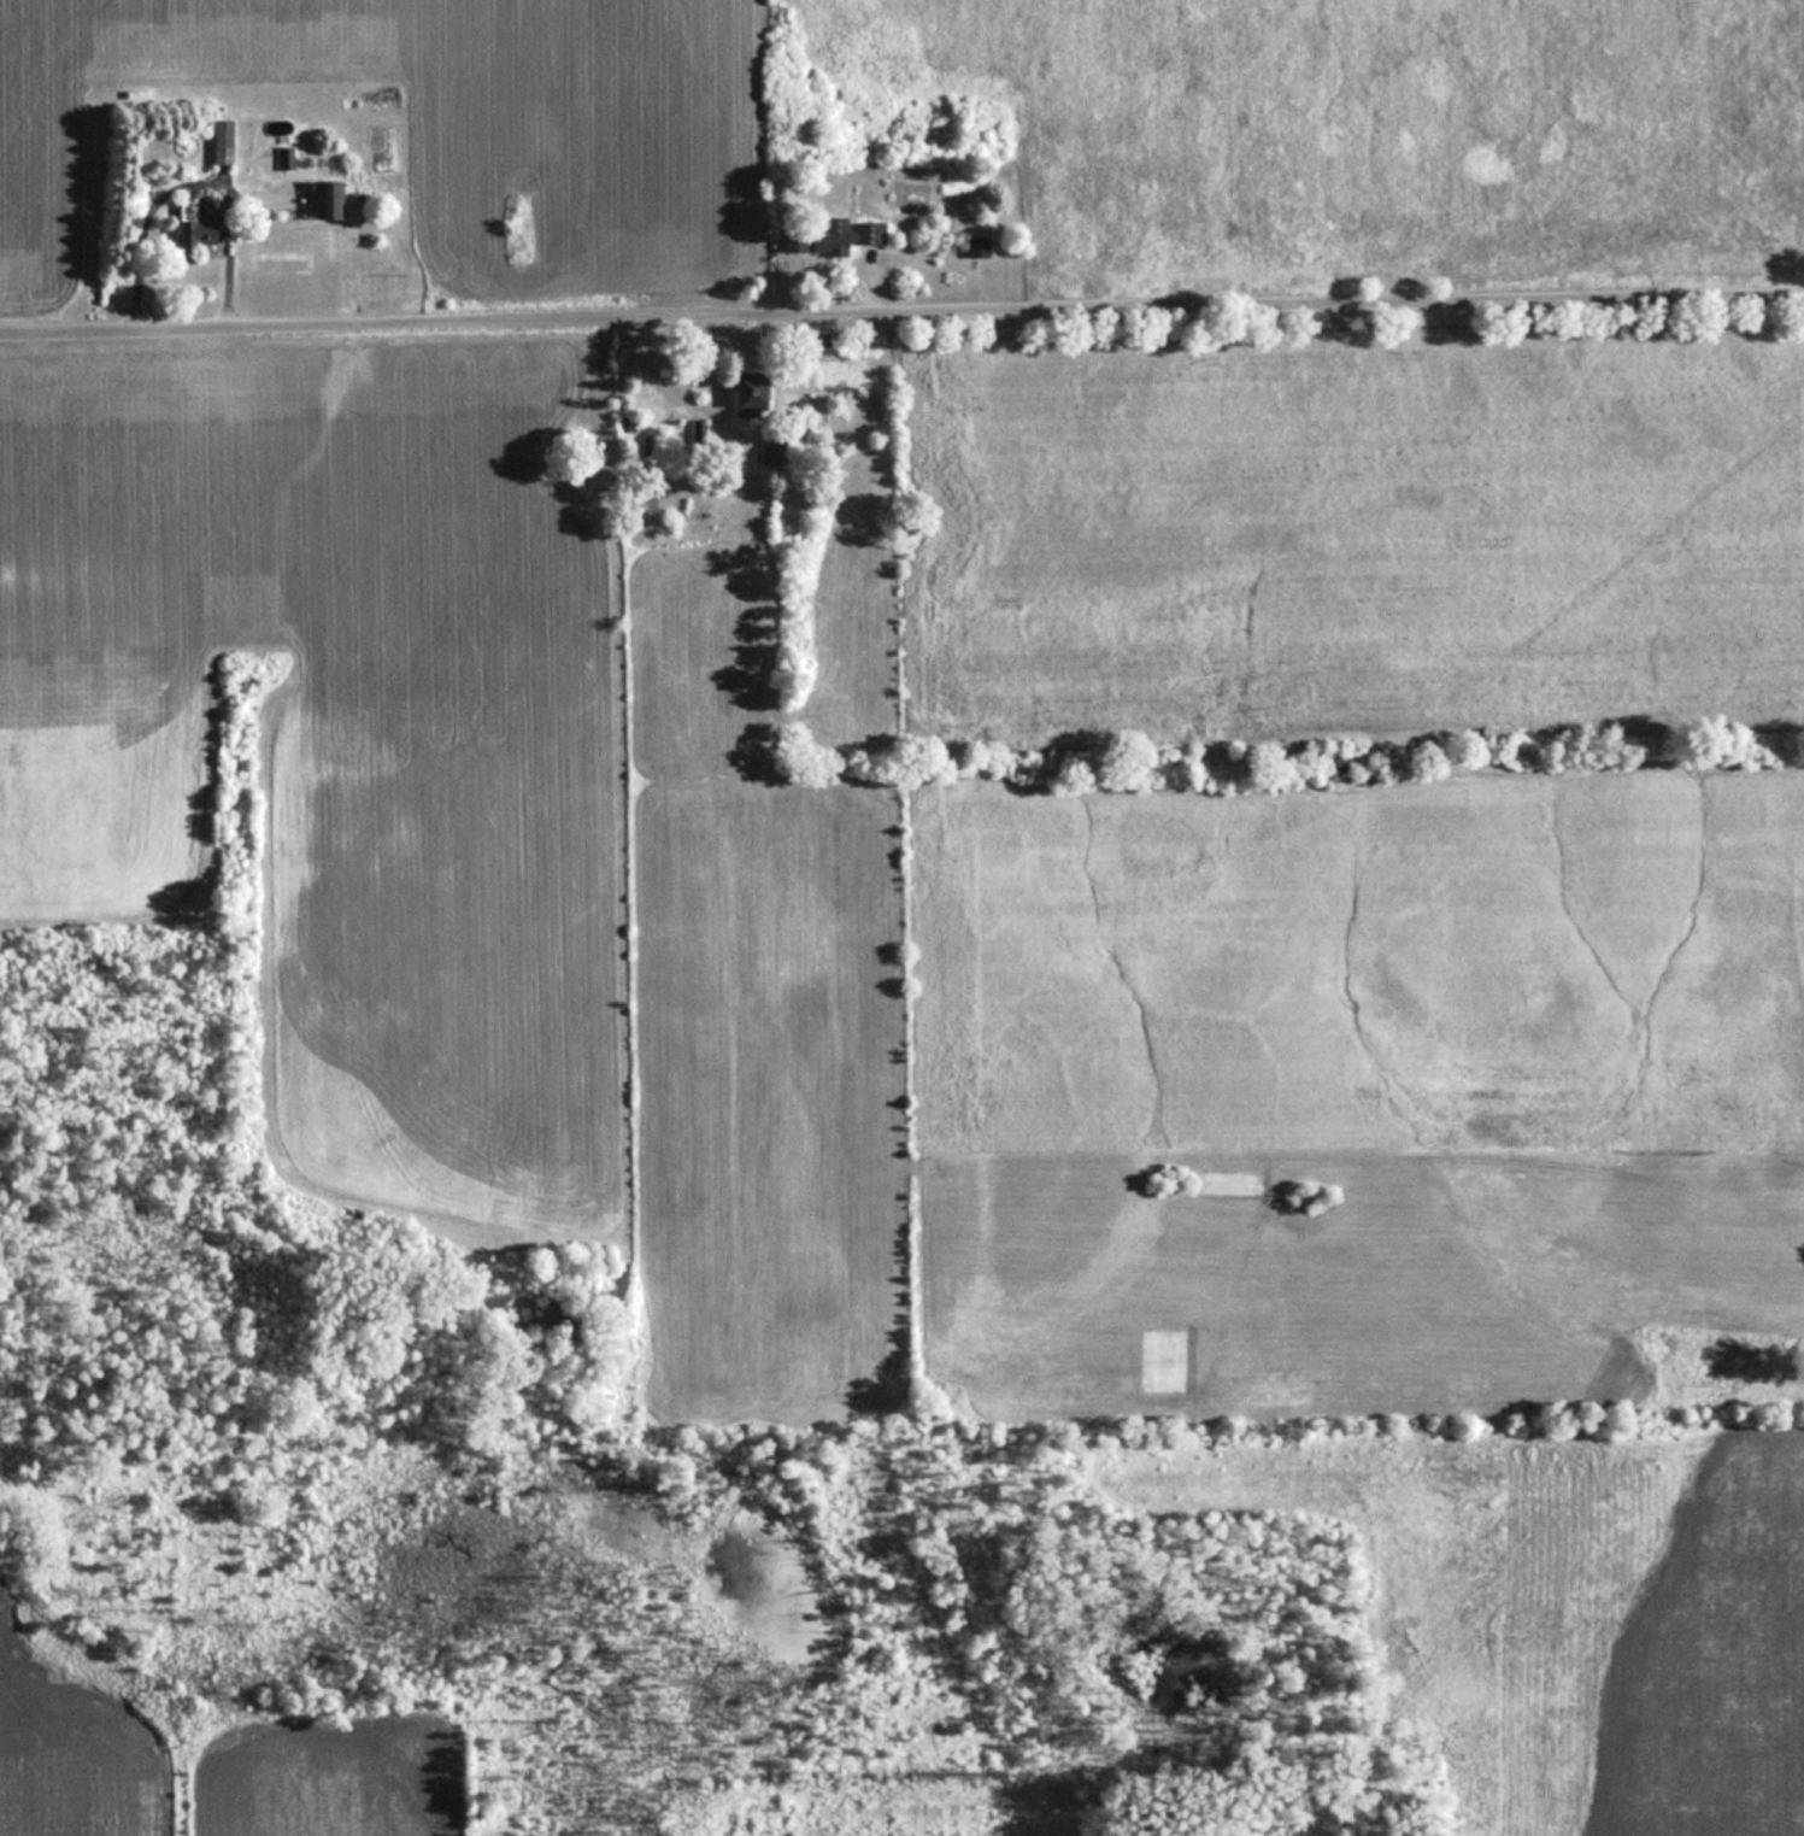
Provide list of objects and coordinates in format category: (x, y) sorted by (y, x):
building: (216, 140)
building: (280, 157)
building: (317, 198)
building: (186, 219)
building: (827, 235)
building: (972, 245)
road: (901, 315)
building: (742, 394)

